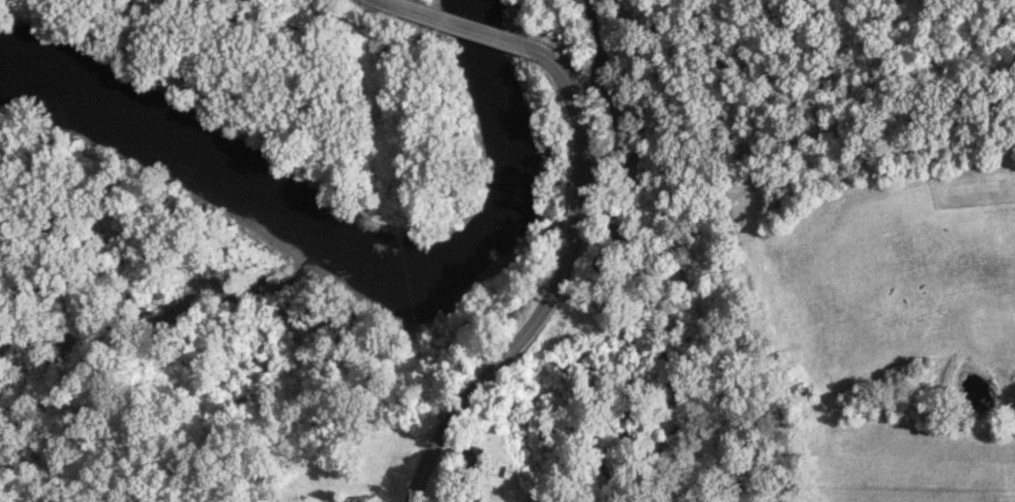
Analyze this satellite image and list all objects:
road: (424, 14)
road: (570, 257)
building: (473, 455)

